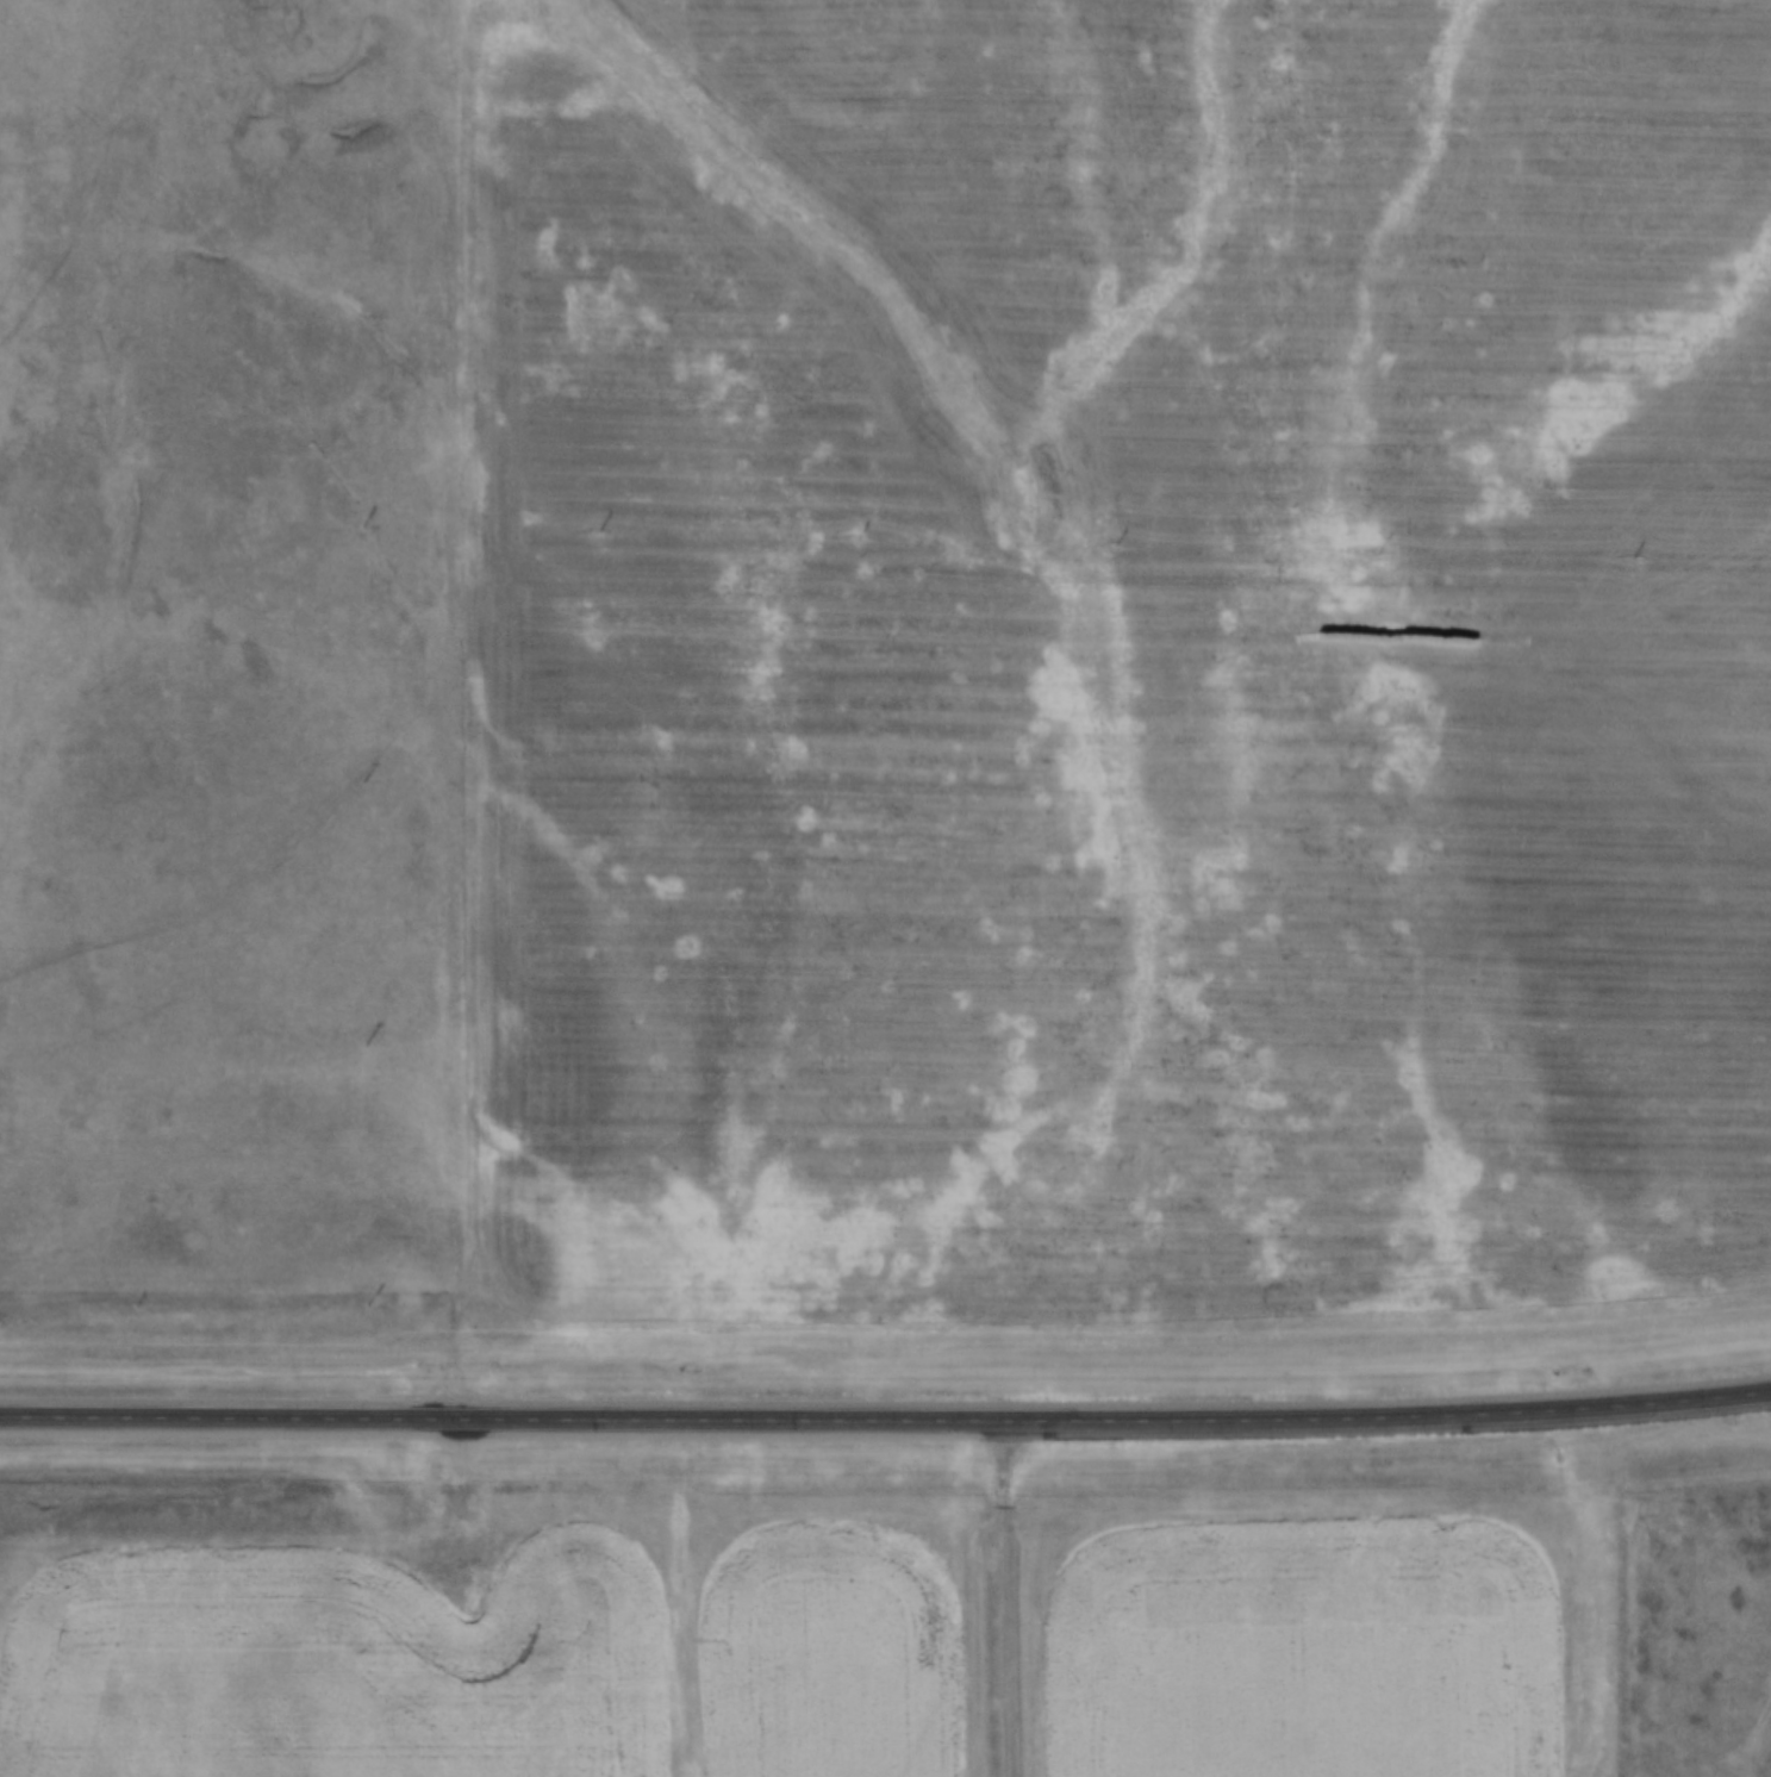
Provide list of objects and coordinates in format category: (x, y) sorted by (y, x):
road: (460, 723)
road: (1389, 1417)
road: (504, 1420)
road: (1010, 1600)

